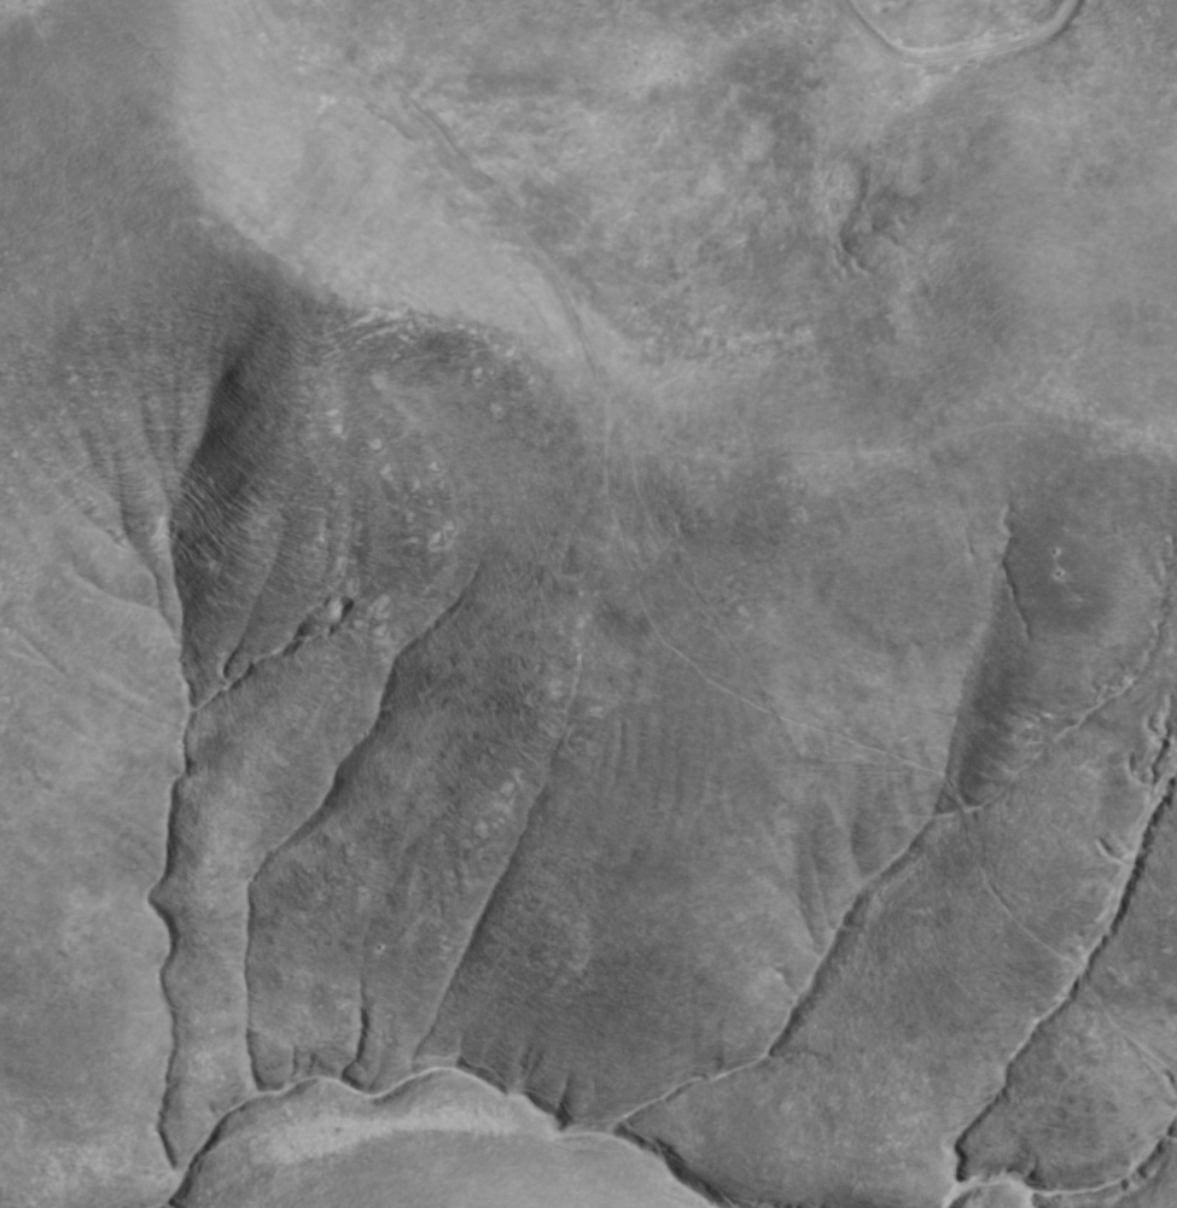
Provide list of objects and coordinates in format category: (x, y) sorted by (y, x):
road: (962, 92)

